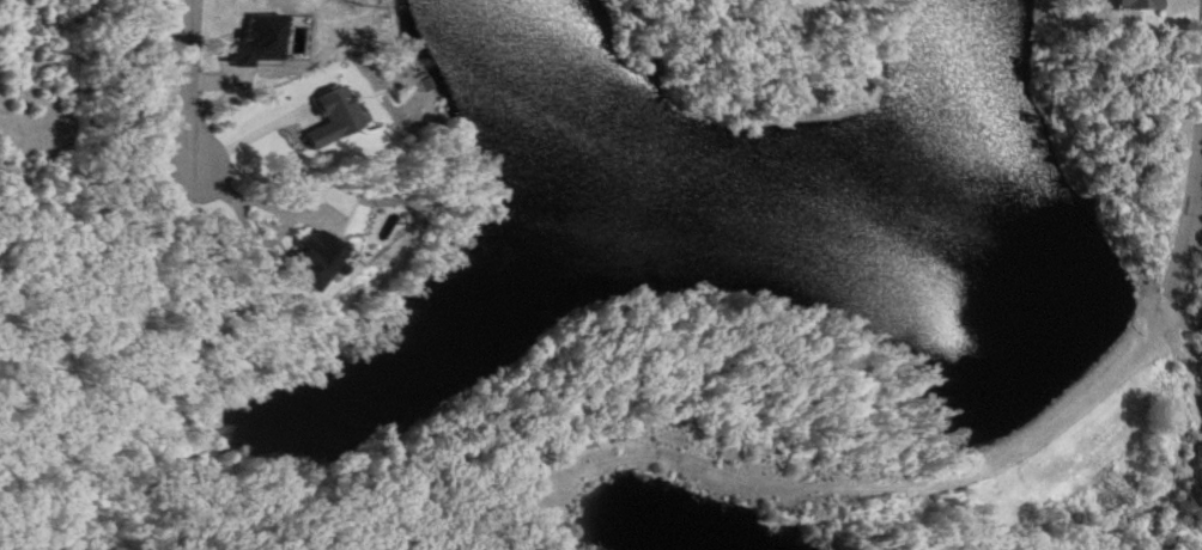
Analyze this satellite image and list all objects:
building: (254, 39)
road: (182, 86)
building: (332, 115)
road: (250, 233)
building: (321, 258)
road: (946, 477)

